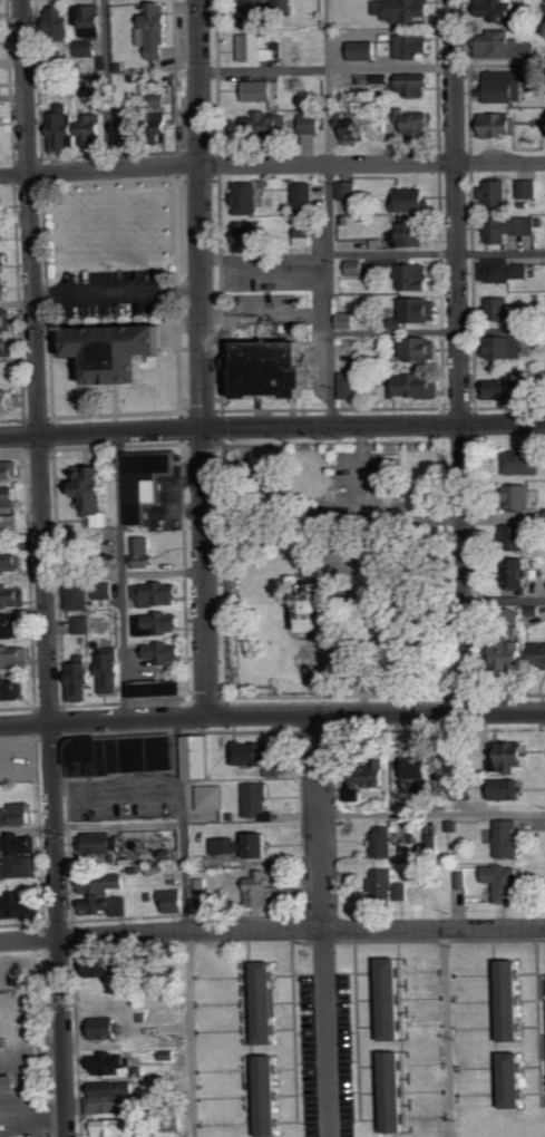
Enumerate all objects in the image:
building: (405, 9)
building: (263, 10)
building: (500, 10)
building: (96, 16)
building: (60, 19)
building: (157, 30)
building: (1, 41)
building: (413, 45)
building: (509, 45)
building: (87, 48)
building: (261, 48)
building: (366, 50)
road: (372, 68)
building: (381, 80)
building: (418, 82)
building: (0, 85)
road: (107, 85)
building: (506, 85)
building: (260, 90)
building: (3, 116)
building: (265, 124)
building: (311, 124)
building: (420, 124)
building: (498, 124)
building: (130, 125)
building: (77, 129)
building: (2, 143)
road: (272, 165)
building: (529, 187)
building: (348, 189)
building: (496, 193)
building: (305, 195)
building: (247, 197)
building: (413, 200)
building: (1, 205)
road: (328, 213)
road: (201, 214)
building: (510, 227)
building: (7, 231)
building: (252, 232)
building: (411, 234)
road: (372, 254)
building: (6, 260)
building: (356, 266)
building: (505, 270)
building: (416, 276)
building: (4, 289)
road: (17, 301)
building: (500, 308)
building: (421, 309)
road: (266, 314)
building: (7, 320)
building: (349, 321)
road: (437, 330)
building: (113, 346)
building: (504, 347)
building: (421, 348)
building: (8, 349)
road: (459, 357)
building: (275, 368)
building: (351, 385)
building: (417, 386)
building: (507, 389)
building: (9, 401)
road: (373, 426)
road: (101, 433)
building: (526, 461)
building: (10, 470)
building: (390, 475)
building: (148, 482)
building: (96, 494)
building: (10, 496)
building: (523, 496)
road: (367, 518)
building: (9, 526)
building: (516, 532)
road: (21, 543)
building: (144, 551)
building: (11, 562)
road: (45, 567)
road: (125, 571)
road: (347, 571)
road: (206, 572)
road: (120, 575)
building: (104, 594)
building: (159, 594)
building: (13, 595)
building: (80, 596)
road: (505, 599)
building: (325, 600)
building: (162, 623)
building: (84, 624)
building: (13, 626)
building: (168, 652)
building: (538, 653)
building: (509, 655)
building: (14, 657)
building: (111, 671)
building: (84, 681)
building: (162, 688)
building: (13, 689)
road: (272, 715)
building: (124, 755)
building: (198, 756)
building: (262, 756)
building: (517, 756)
building: (419, 768)
building: (371, 778)
building: (508, 789)
building: (211, 797)
building: (257, 800)
road: (432, 812)
building: (18, 814)
road: (27, 826)
building: (509, 838)
building: (385, 840)
building: (99, 843)
building: (22, 844)
building: (431, 844)
building: (246, 845)
building: (506, 881)
building: (104, 883)
building: (201, 886)
building: (387, 886)
building: (262, 890)
building: (174, 901)
building: (103, 904)
building: (20, 905)
road: (322, 925)
road: (187, 926)
road: (272, 930)
building: (104, 966)
building: (389, 998)
building: (507, 1000)
building: (263, 1001)
building: (106, 1028)
road: (447, 1032)
road: (32, 1050)
building: (111, 1062)
building: (509, 1079)
building: (8, 1081)
building: (391, 1090)
building: (265, 1095)
building: (118, 1099)
building: (117, 1127)

